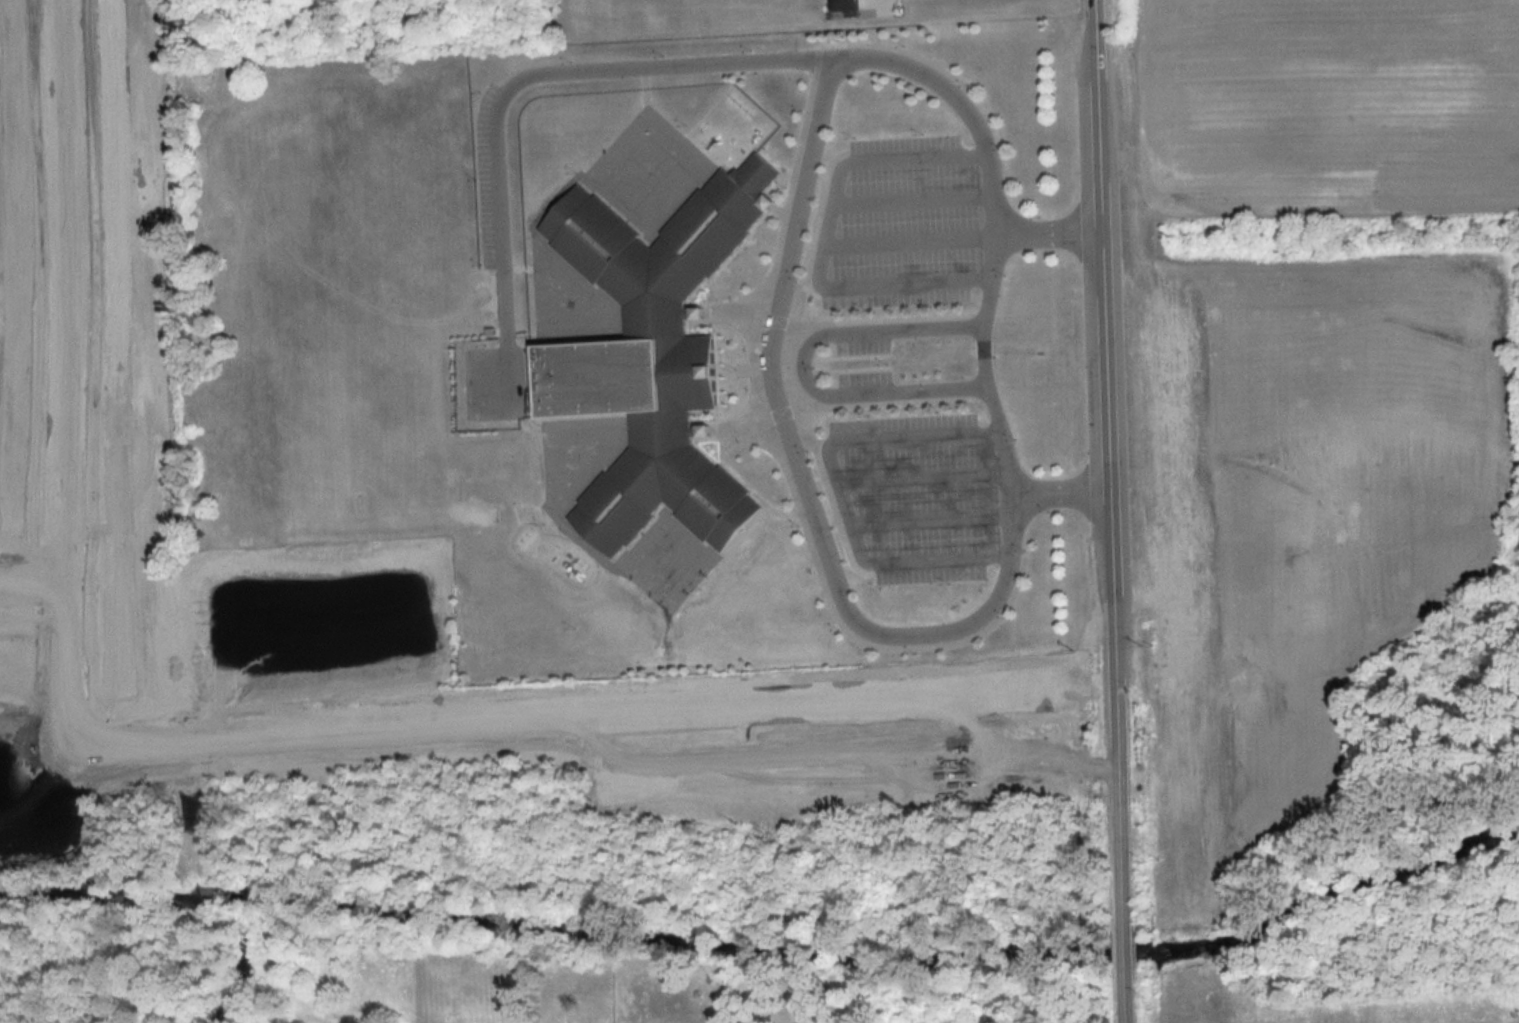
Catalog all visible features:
road: (720, 62)
crop: (1325, 107)
road: (910, 199)
road: (821, 240)
road: (907, 240)
building: (650, 355)
road: (802, 365)
road: (70, 368)
road: (920, 479)
road: (1061, 491)
road: (836, 494)
crop: (1304, 505)
road: (1114, 511)
road: (928, 520)
road: (33, 580)
road: (843, 597)
road: (797, 701)
road: (274, 735)

